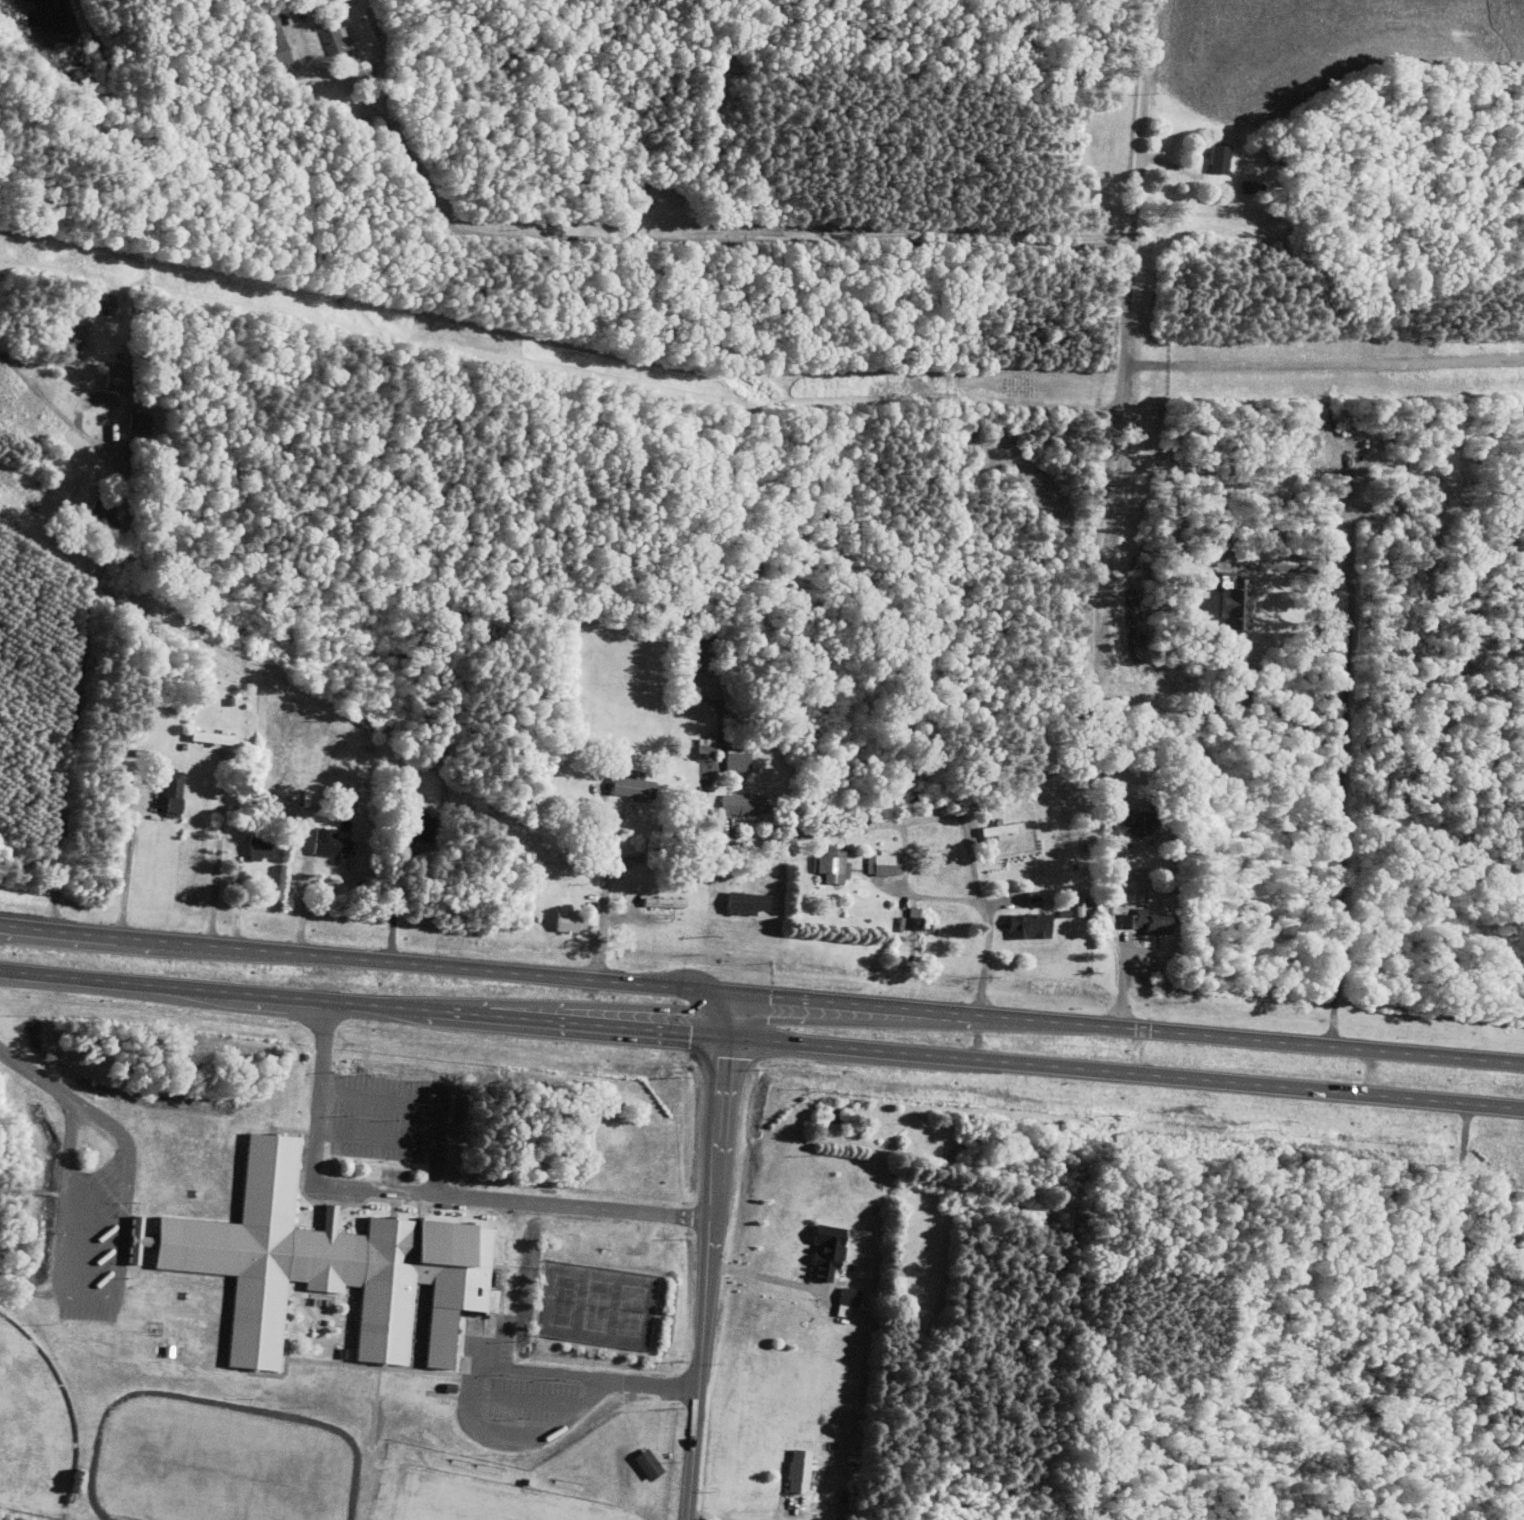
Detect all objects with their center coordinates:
building: (337, 39)
building: (1214, 159)
road: (692, 238)
building: (111, 306)
building: (119, 377)
building: (141, 421)
building: (705, 645)
road: (1085, 669)
building: (218, 736)
road: (1342, 747)
building: (709, 748)
building: (637, 787)
building: (176, 791)
building: (745, 804)
building: (1146, 816)
building: (425, 829)
building: (1003, 829)
road: (1162, 833)
building: (334, 842)
building: (263, 845)
road: (217, 858)
building: (886, 863)
building: (833, 864)
road: (909, 893)
building: (667, 901)
building: (751, 902)
road: (396, 904)
road: (985, 909)
building: (916, 918)
building: (1152, 920)
building: (573, 921)
building: (1033, 924)
road: (125, 949)
road: (369, 958)
traffic signals: (773, 996)
road: (1131, 1025)
road: (323, 1027)
traffic signals: (693, 1034)
road: (761, 1039)
traffic signals: (733, 1045)
road: (33, 1070)
road: (441, 1123)
road: (435, 1168)
road: (105, 1180)
road: (449, 1194)
building: (832, 1253)
road: (710, 1256)
building: (331, 1264)
road: (765, 1277)
building: (852, 1296)
park: (597, 1304)
road: (572, 1374)
road: (645, 1383)
road: (593, 1393)
road: (530, 1399)
road: (479, 1419)
park: (33, 1430)
building: (652, 1464)
building: (802, 1470)
road: (792, 1513)
road: (720, 1518)

